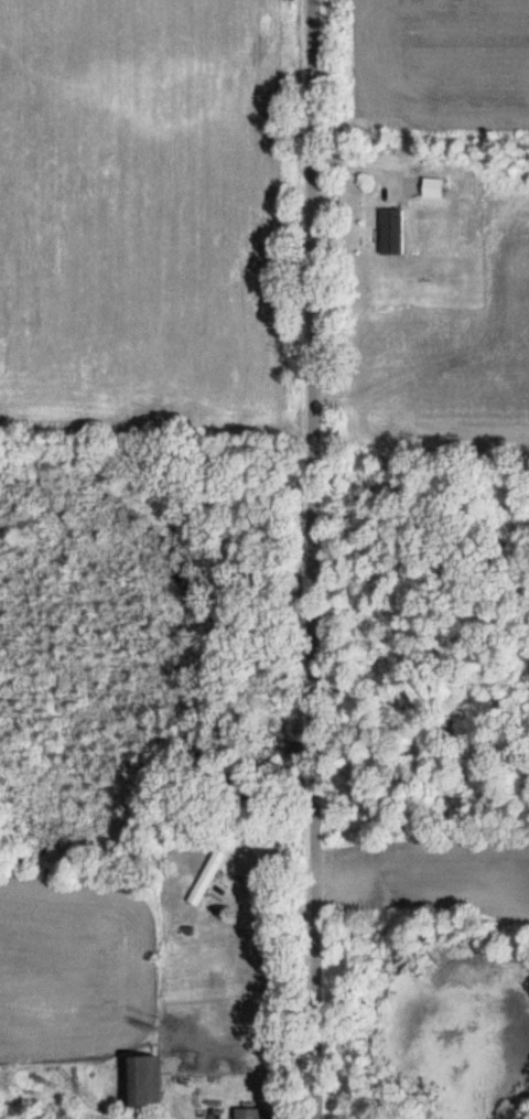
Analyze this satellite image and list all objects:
building: (389, 229)
road: (315, 559)
building: (206, 876)
building: (141, 1080)
building: (246, 1112)

